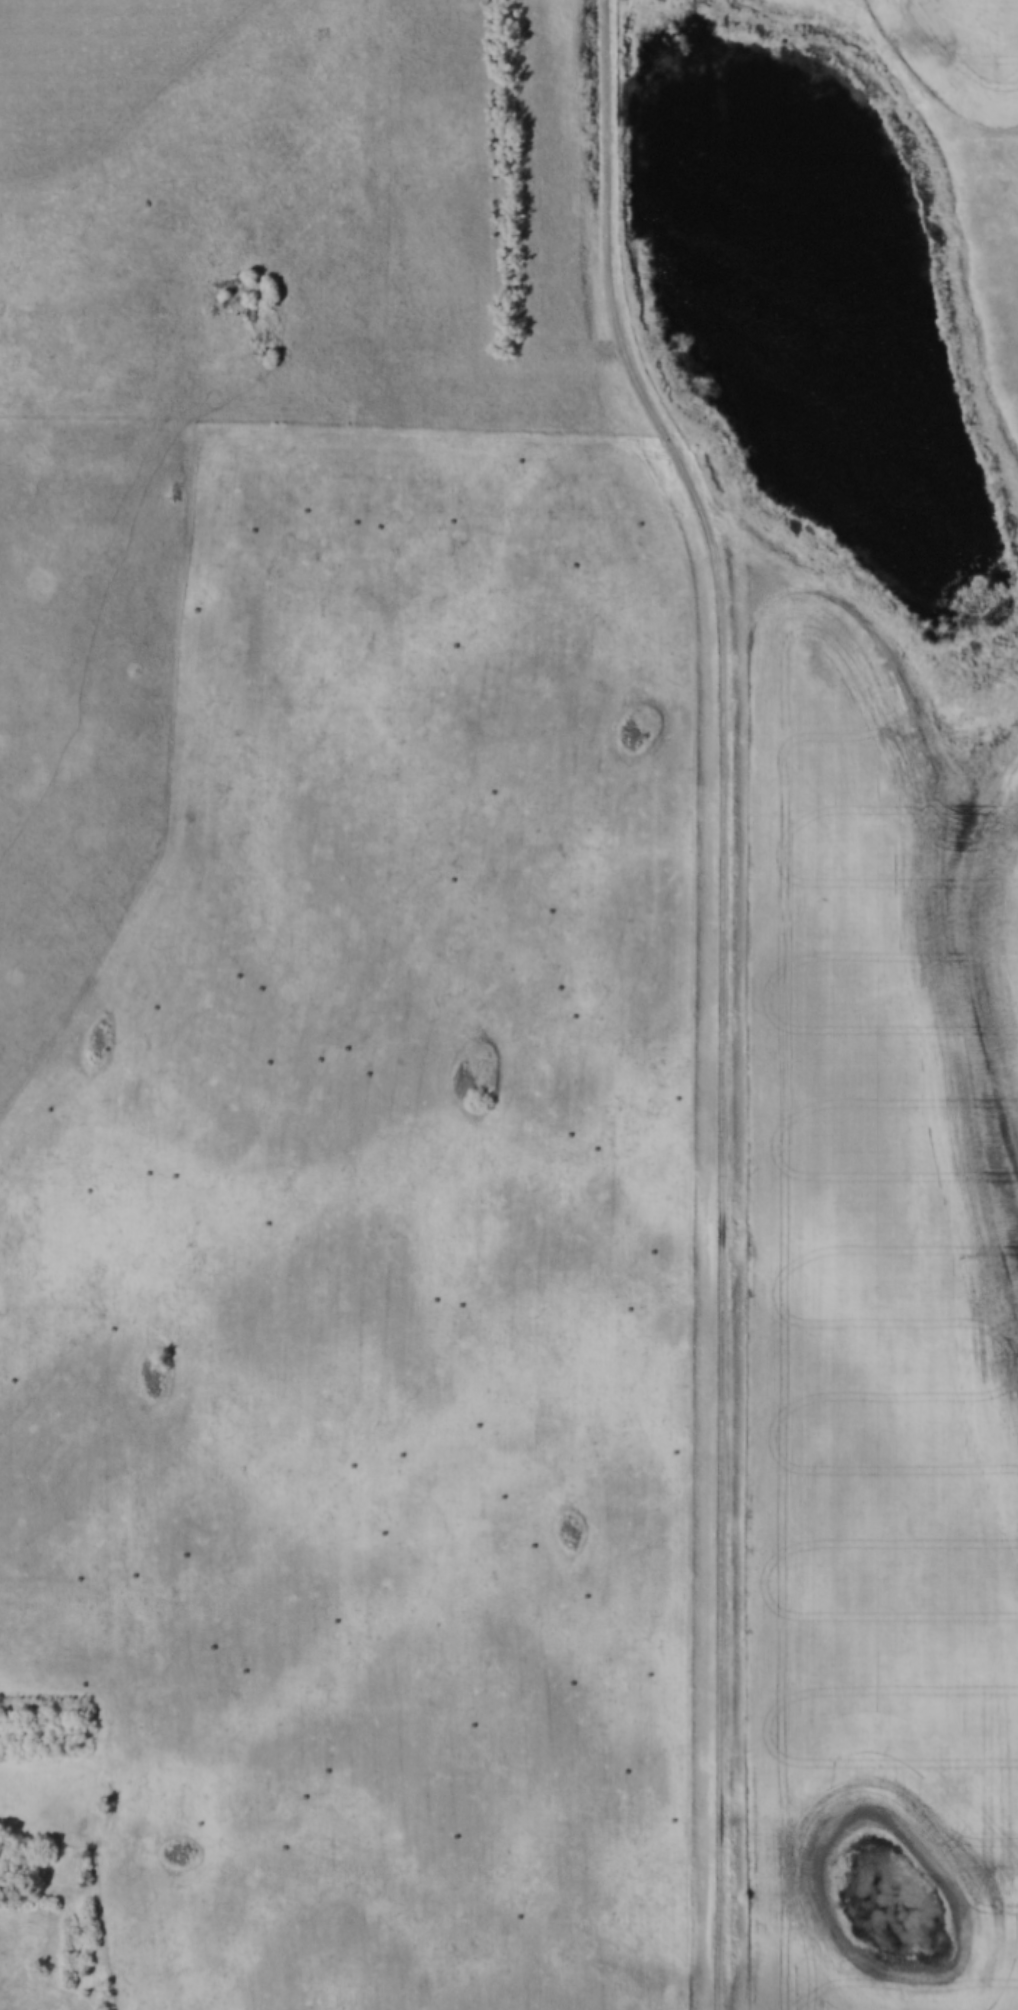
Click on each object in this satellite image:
road: (838, 627)
road: (724, 995)

